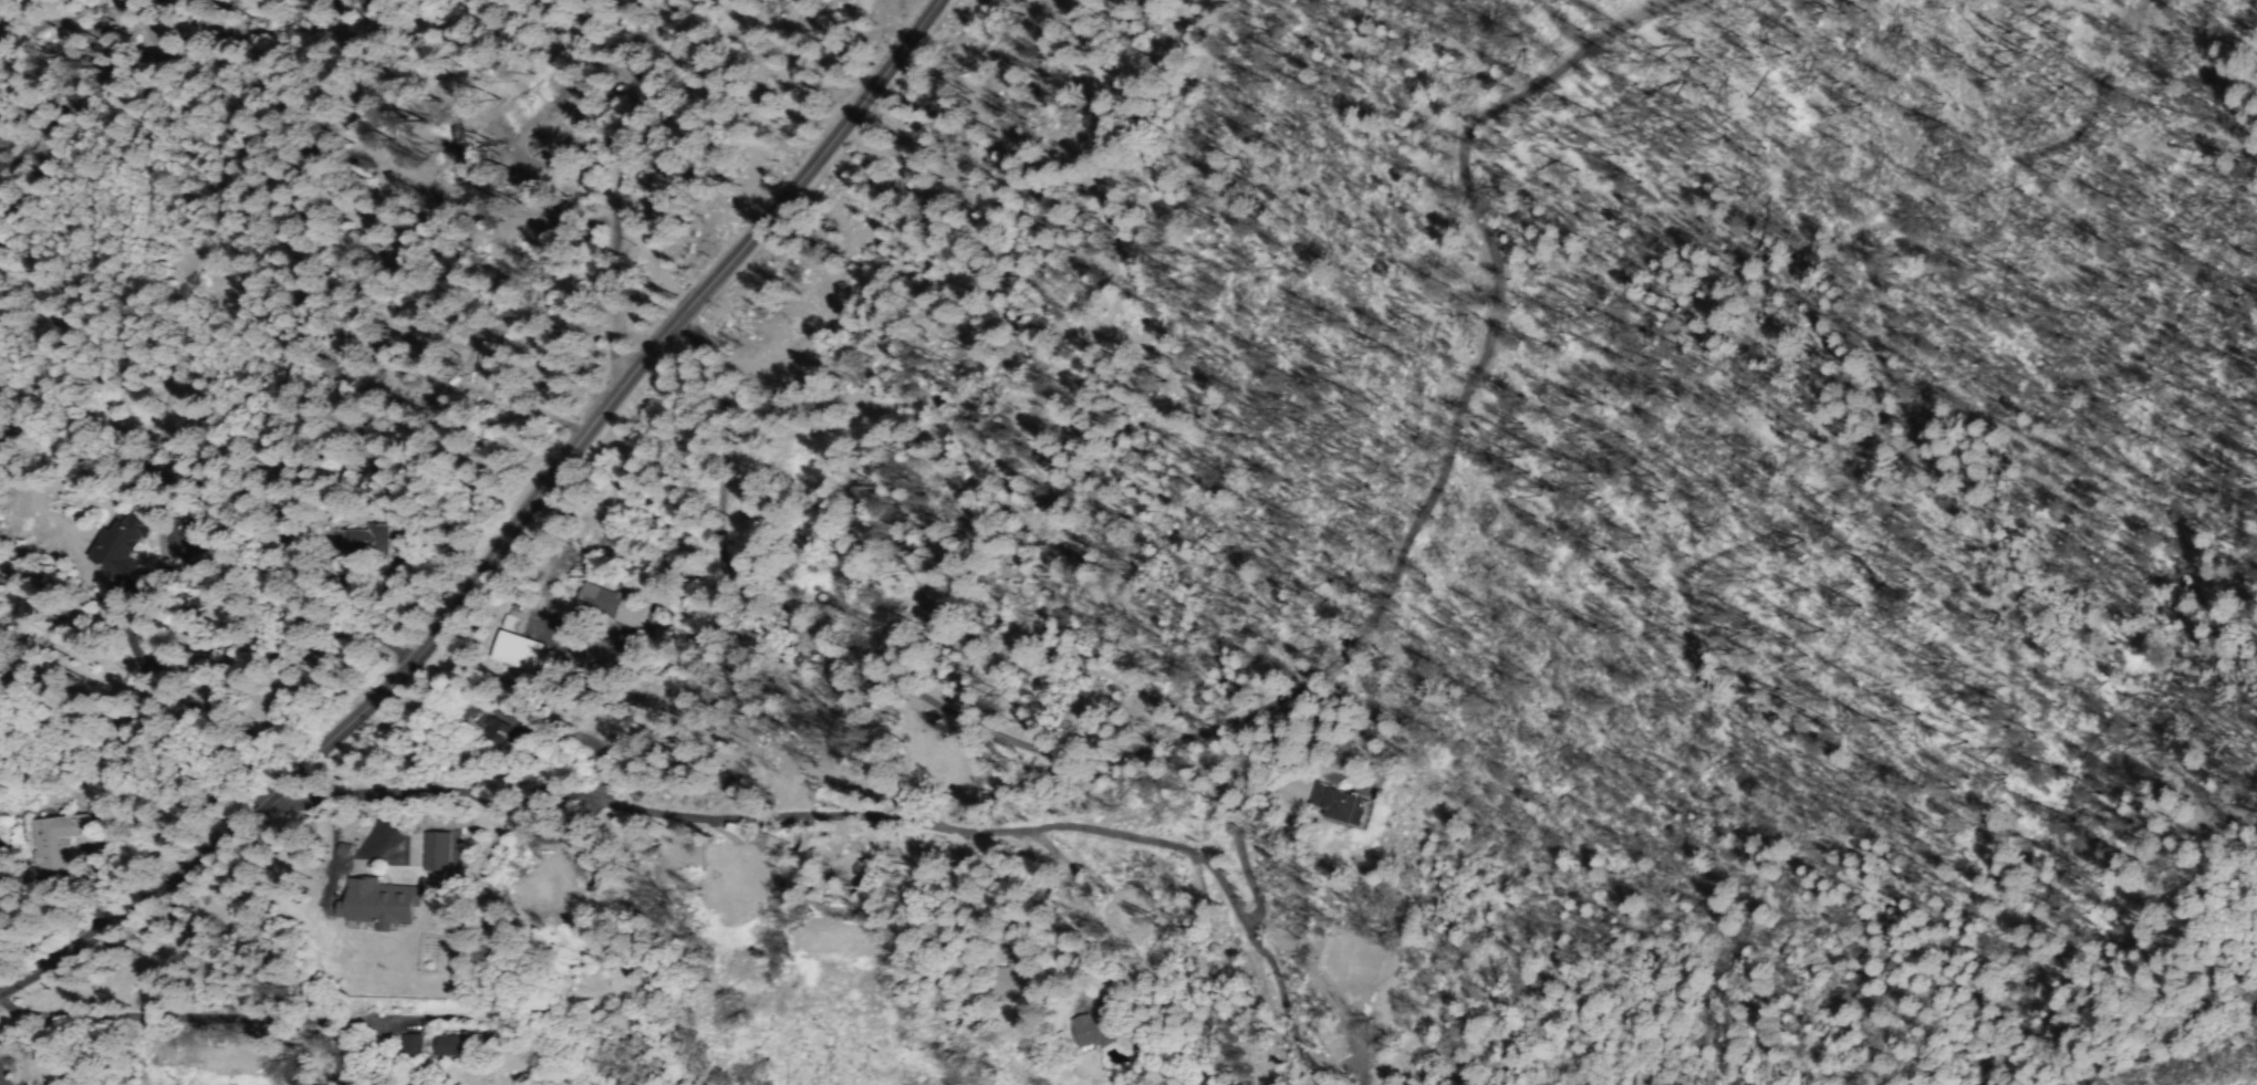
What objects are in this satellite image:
road: (284, 95)
road: (590, 190)
road: (1272, 456)
road: (511, 538)
building: (508, 654)
building: (1333, 807)
road: (883, 812)
building: (384, 904)
building: (1089, 1031)
road: (39, 1043)
building: (413, 1046)
building: (457, 1047)

